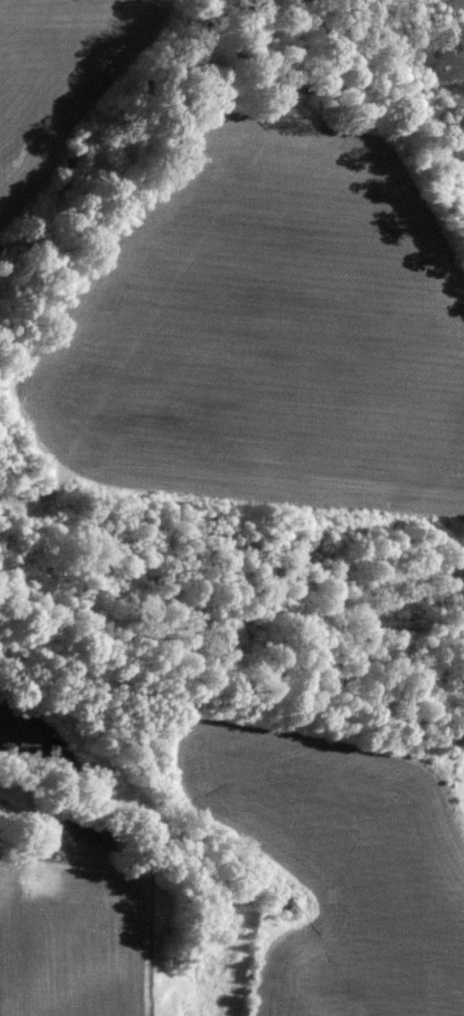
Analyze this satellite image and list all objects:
building: (81, 831)

